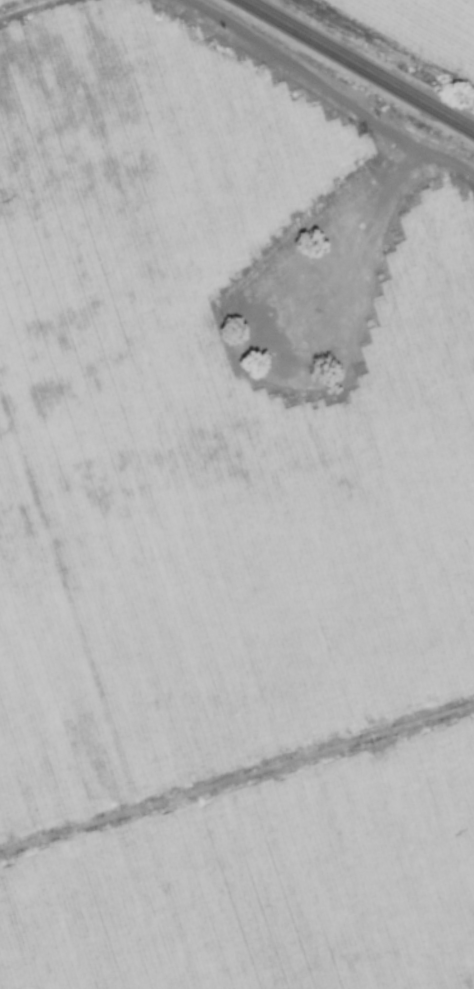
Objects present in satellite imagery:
road: (358, 65)

